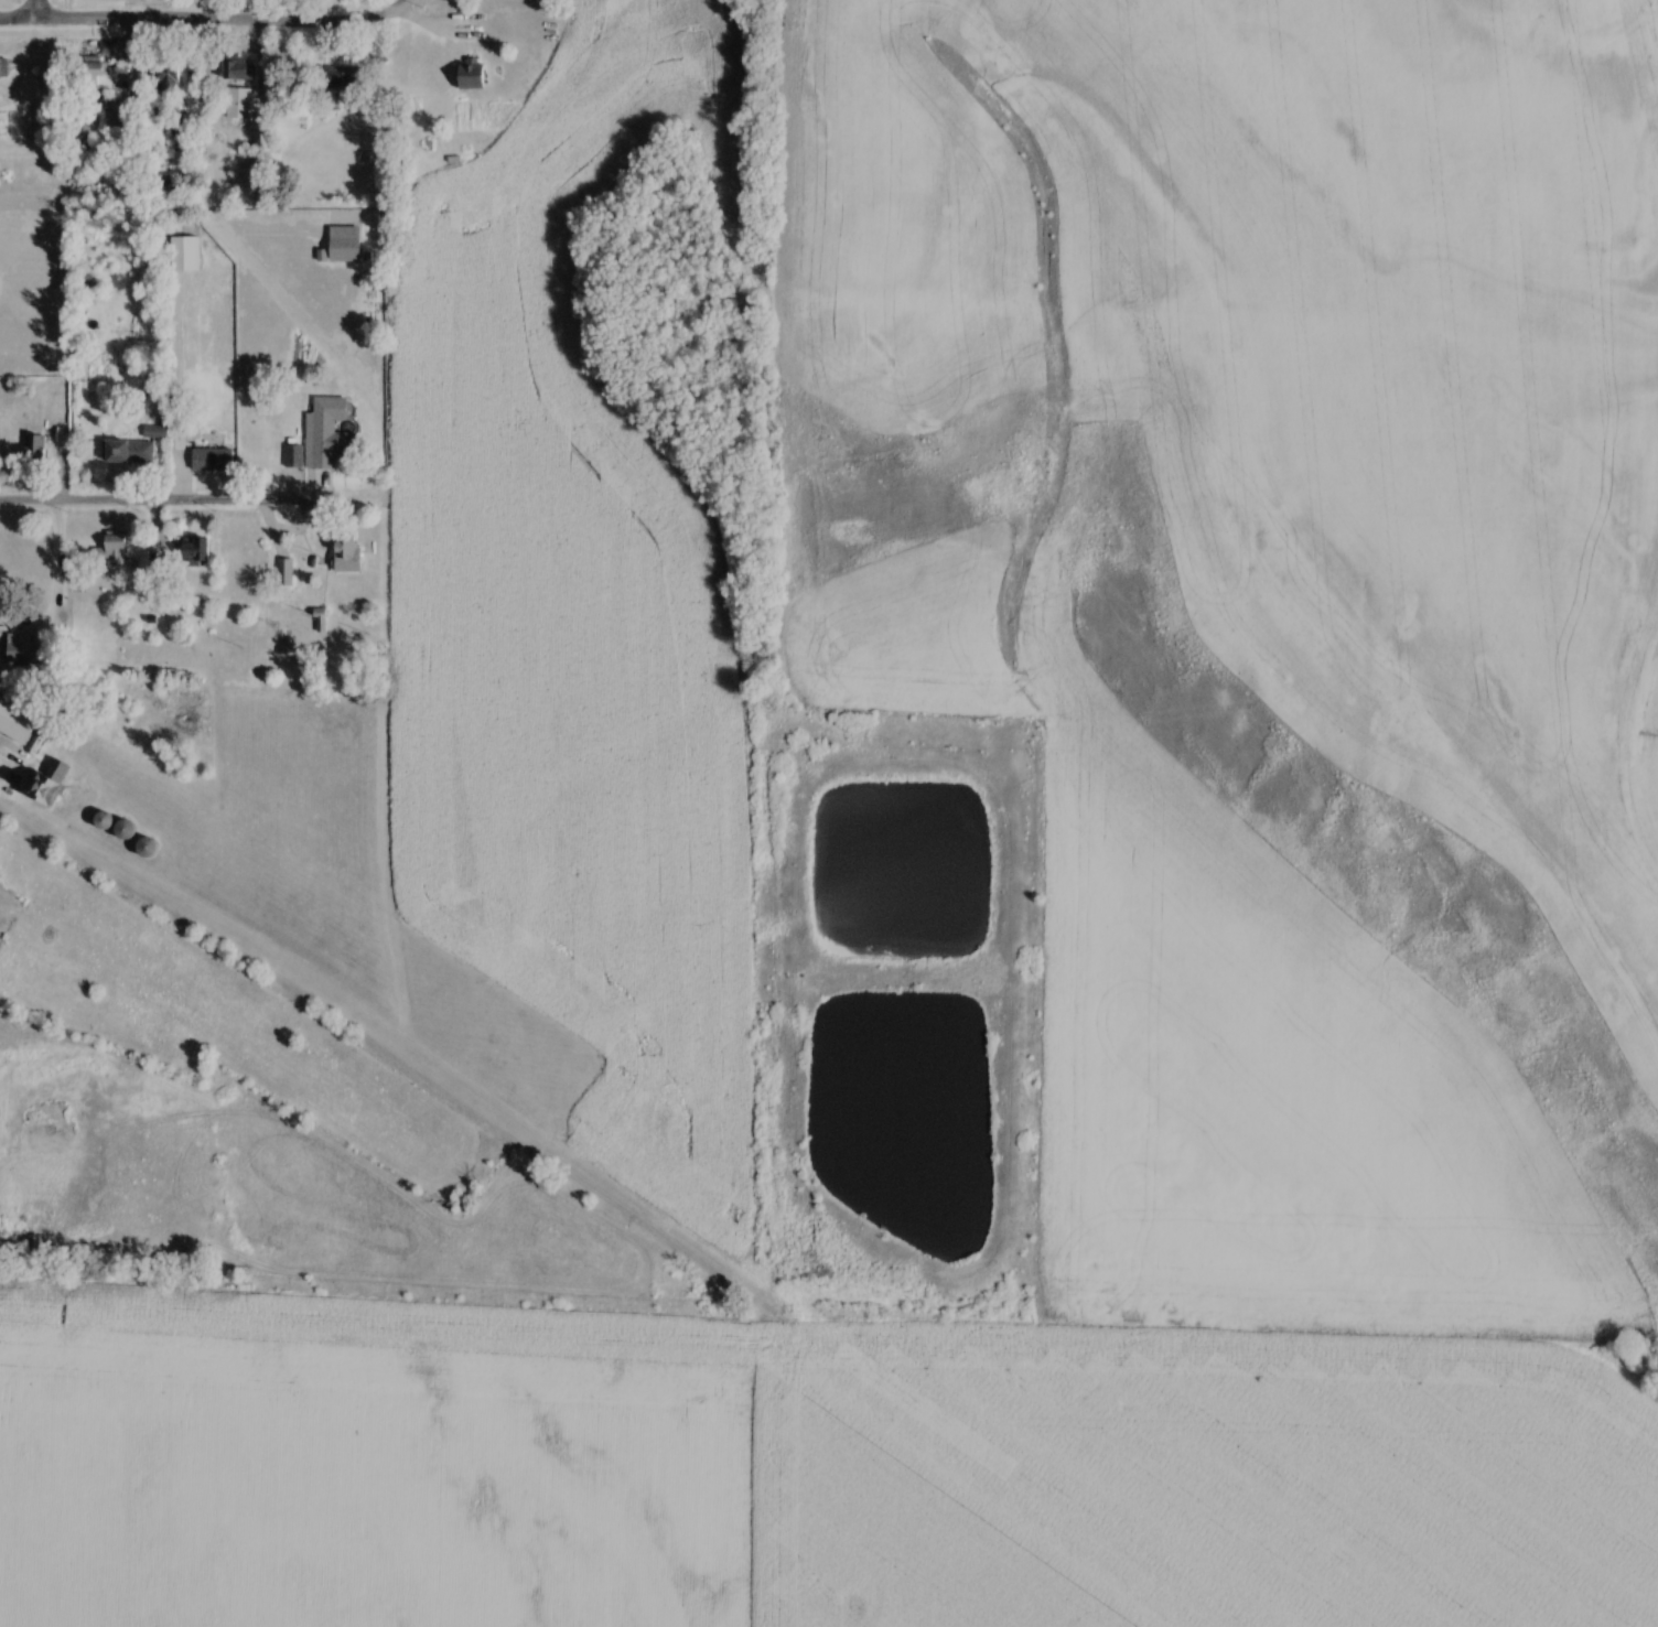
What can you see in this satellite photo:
road: (39, 11)
road: (201, 20)
building: (3, 71)
building: (243, 76)
building: (471, 76)
building: (94, 77)
building: (171, 77)
building: (241, 106)
building: (162, 129)
building: (346, 246)
road: (174, 394)
building: (158, 432)
building: (329, 433)
building: (182, 440)
building: (36, 449)
building: (130, 451)
road: (127, 498)
road: (302, 514)
building: (116, 546)
building: (196, 551)
building: (349, 554)
road: (54, 571)
building: (287, 575)
building: (20, 648)
building: (52, 785)

